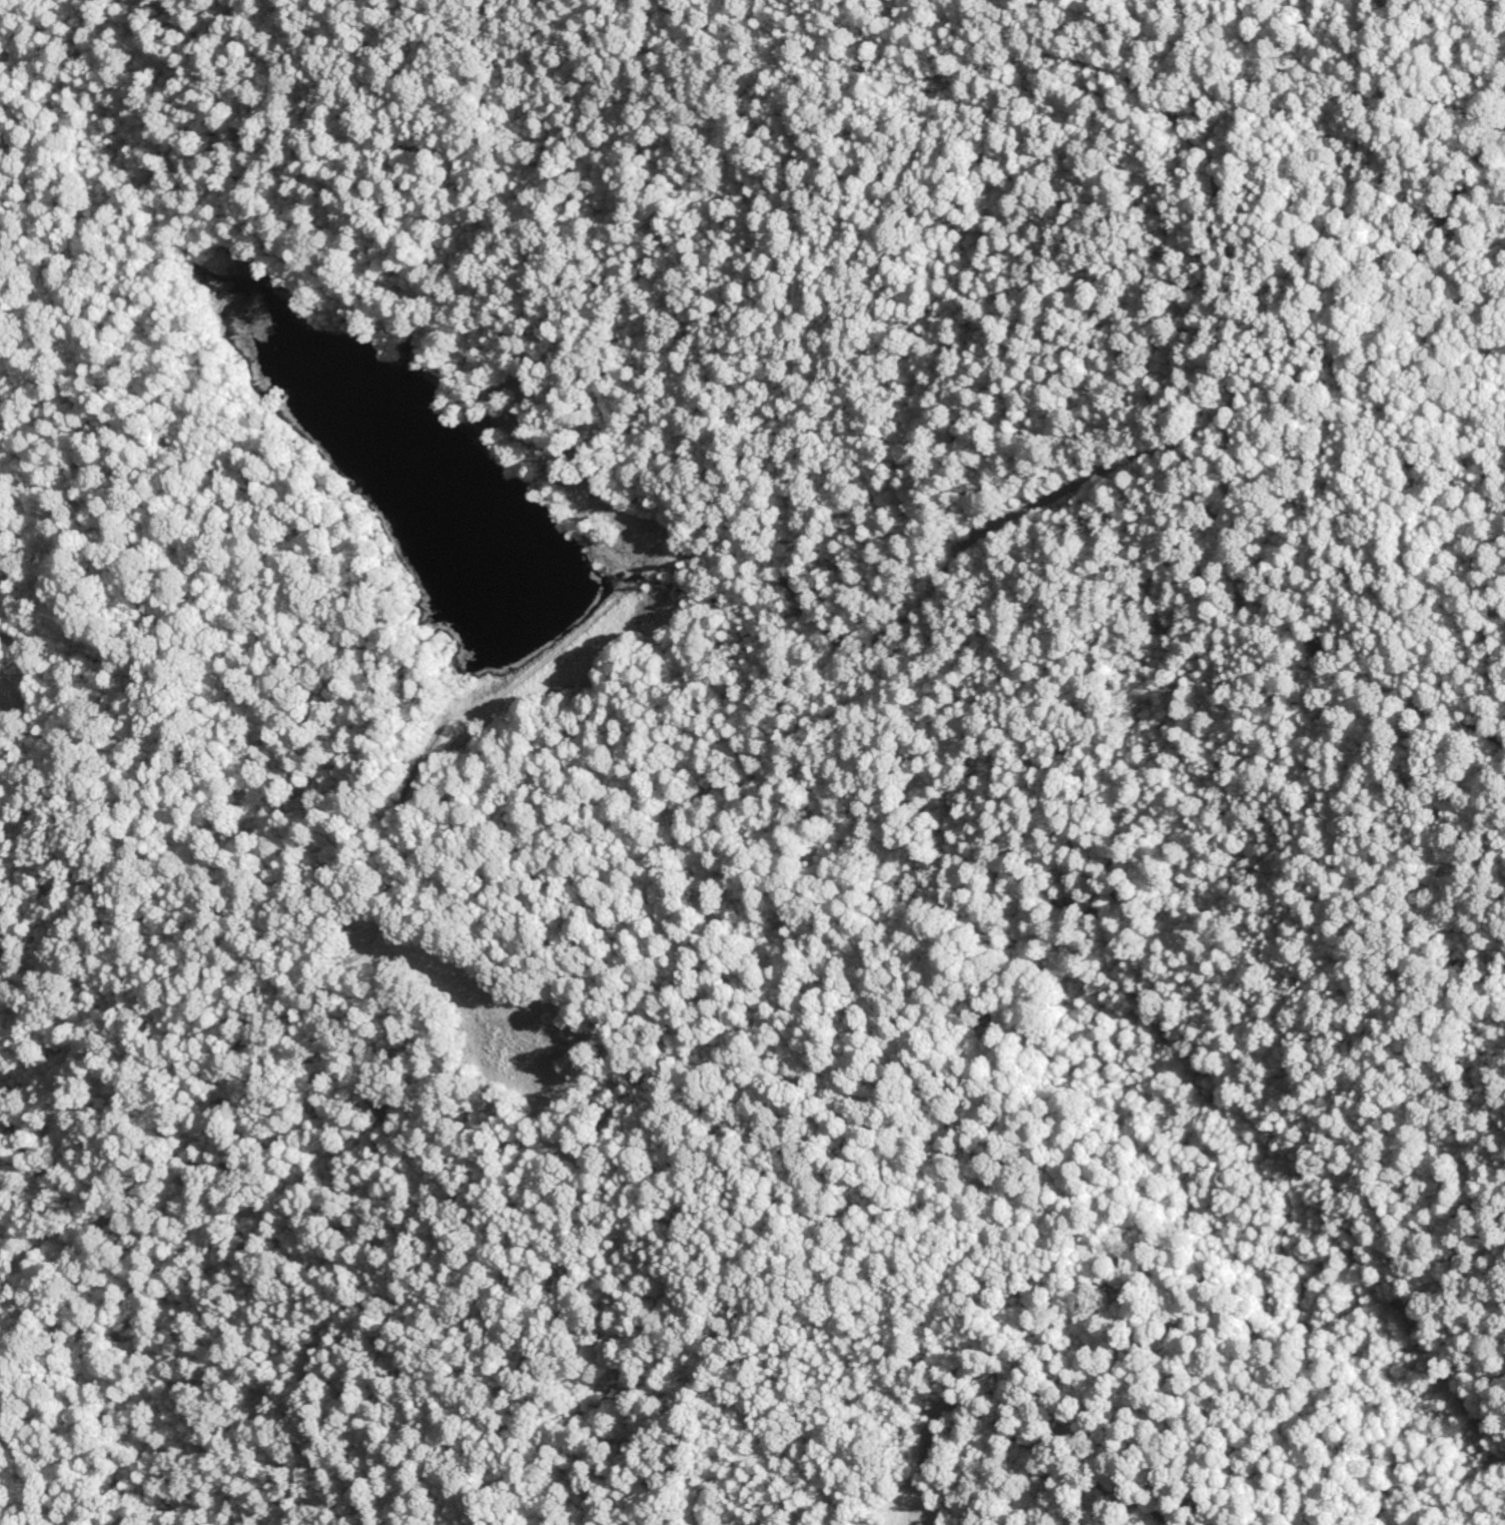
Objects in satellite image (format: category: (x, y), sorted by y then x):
road: (1456, 226)

